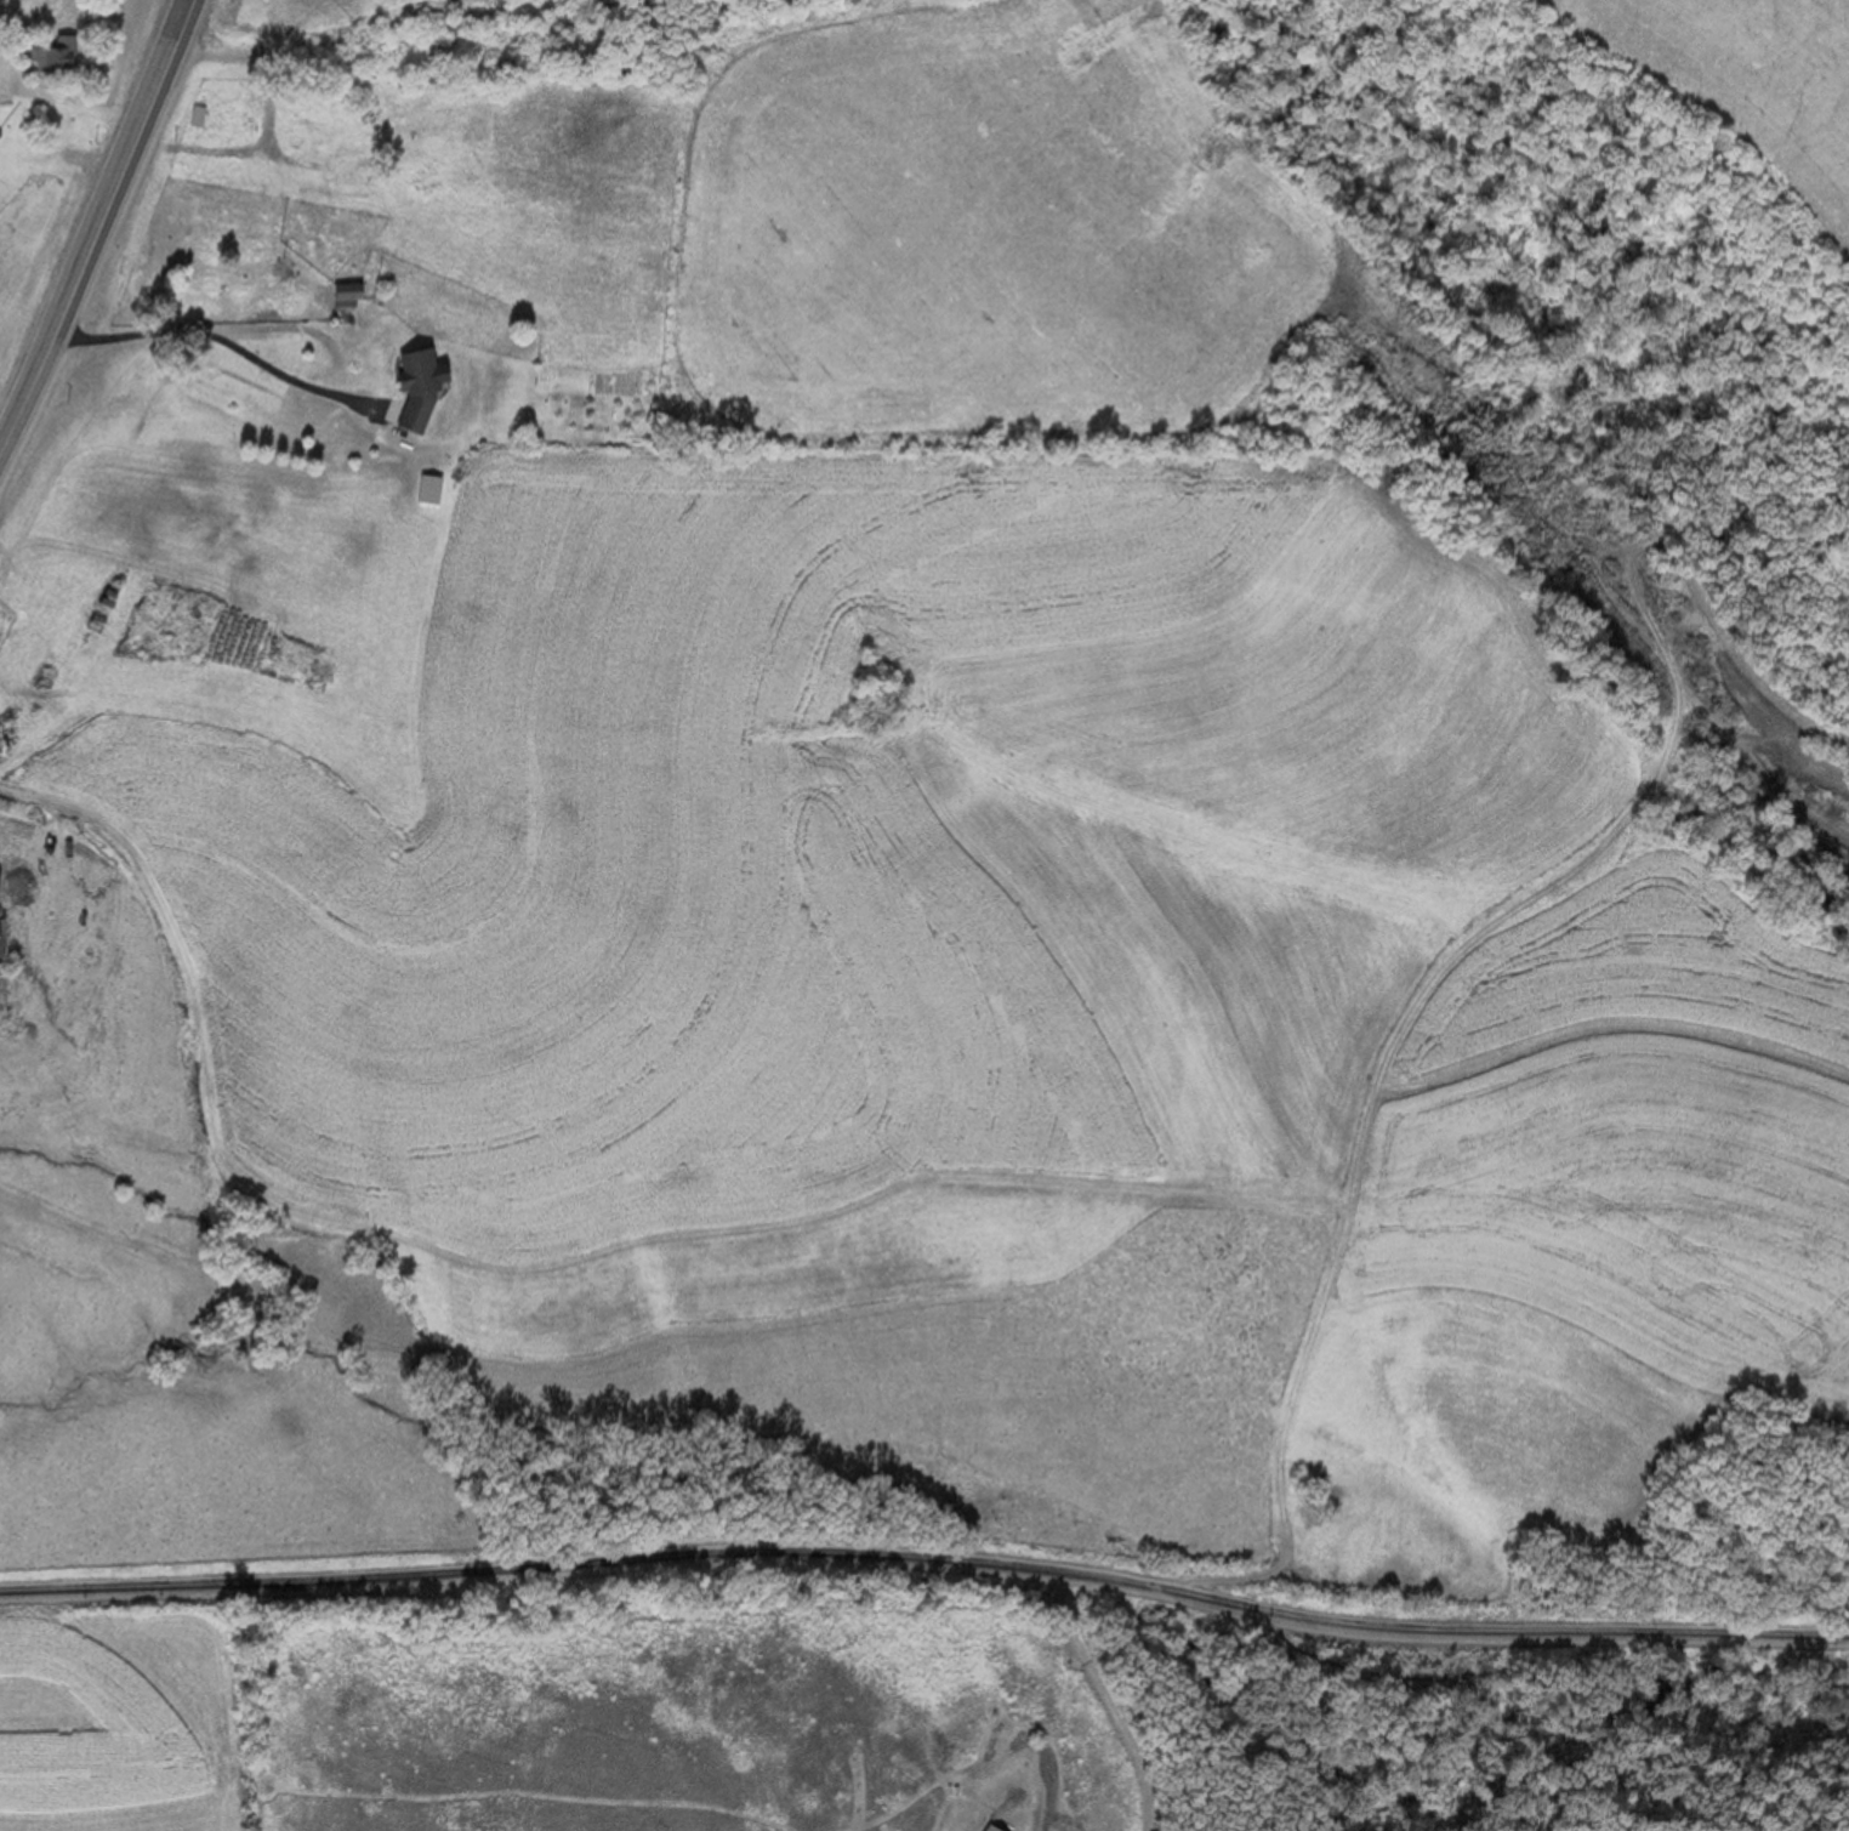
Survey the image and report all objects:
building: (51, 58)
building: (342, 174)
road: (99, 227)
building: (346, 295)
building: (414, 388)
road: (927, 1560)
building: (984, 1829)

